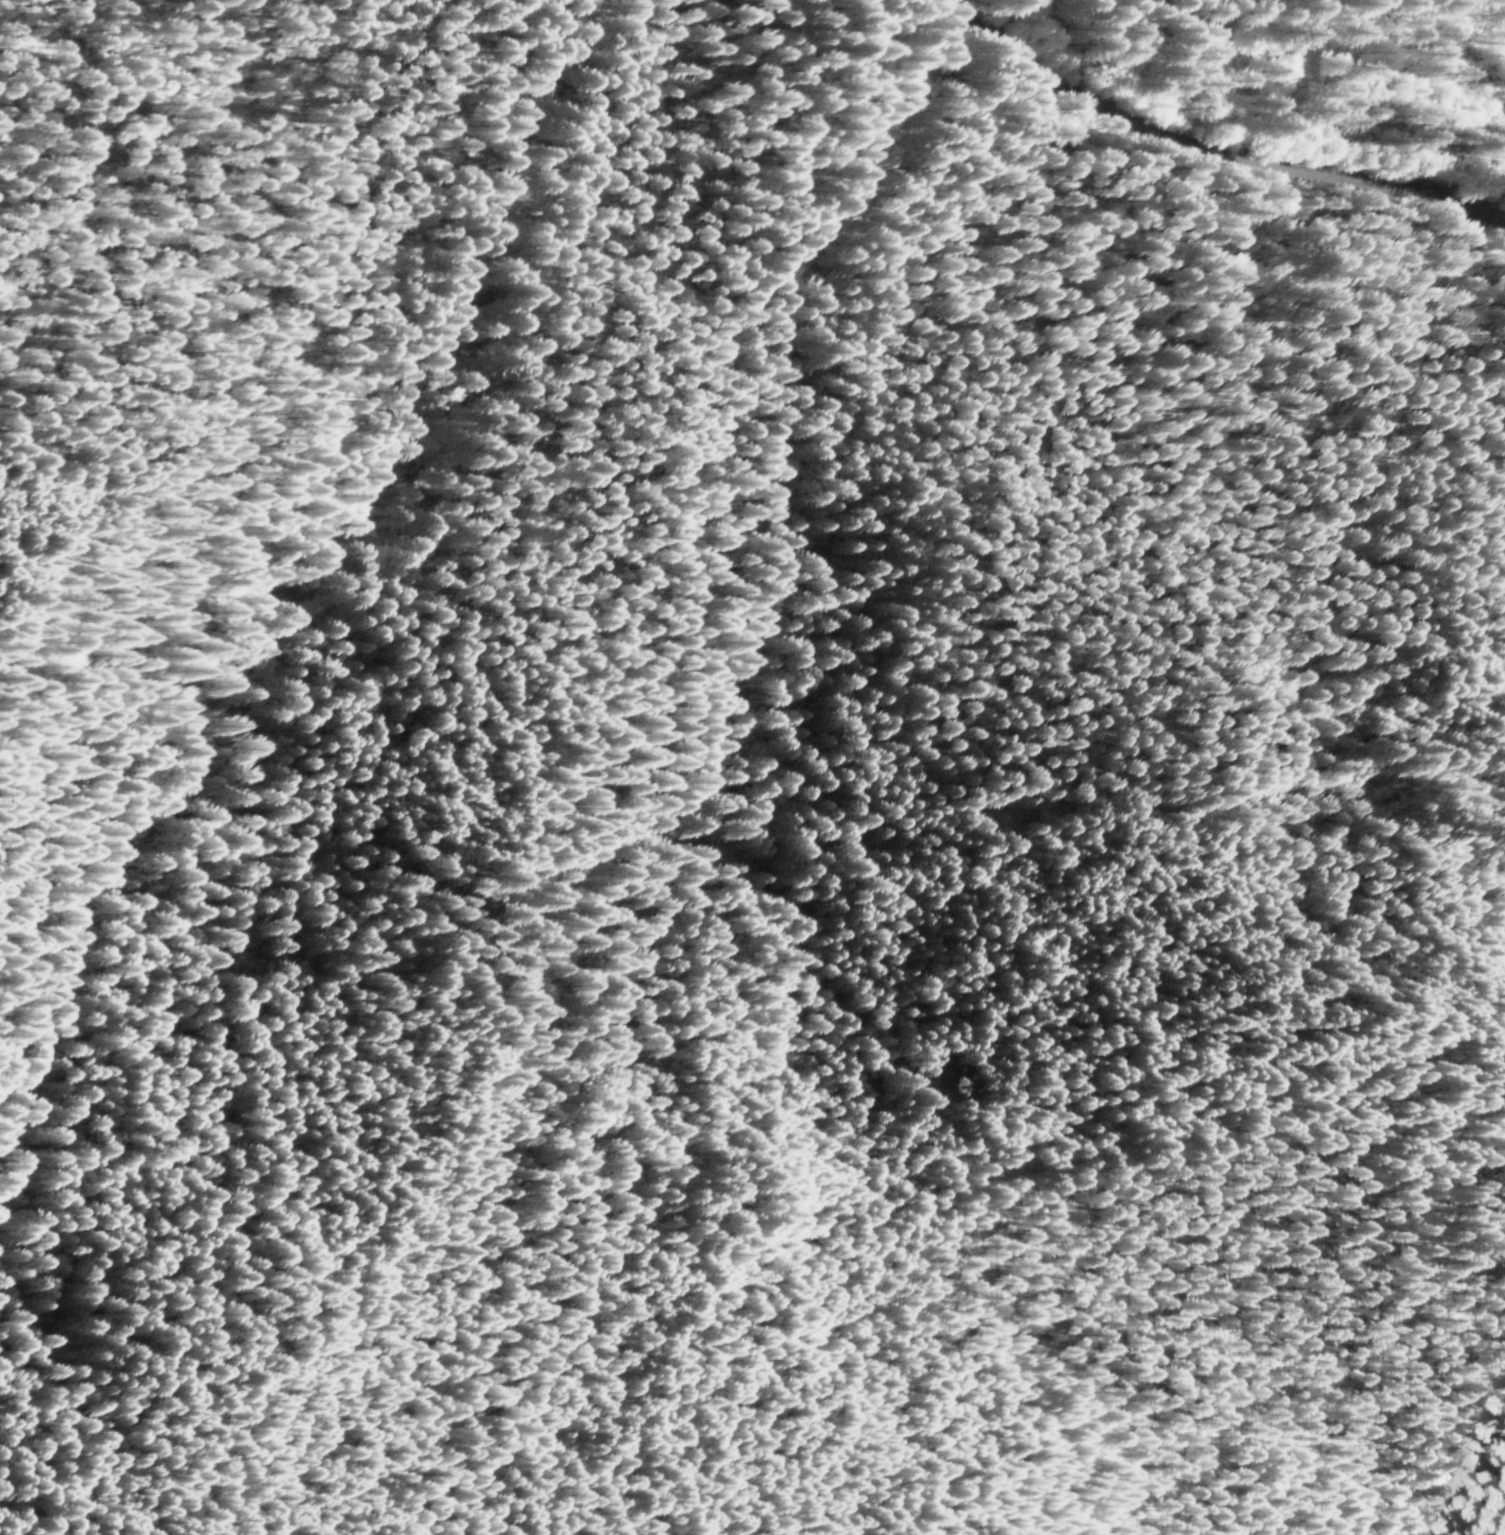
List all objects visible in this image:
road: (1237, 99)

